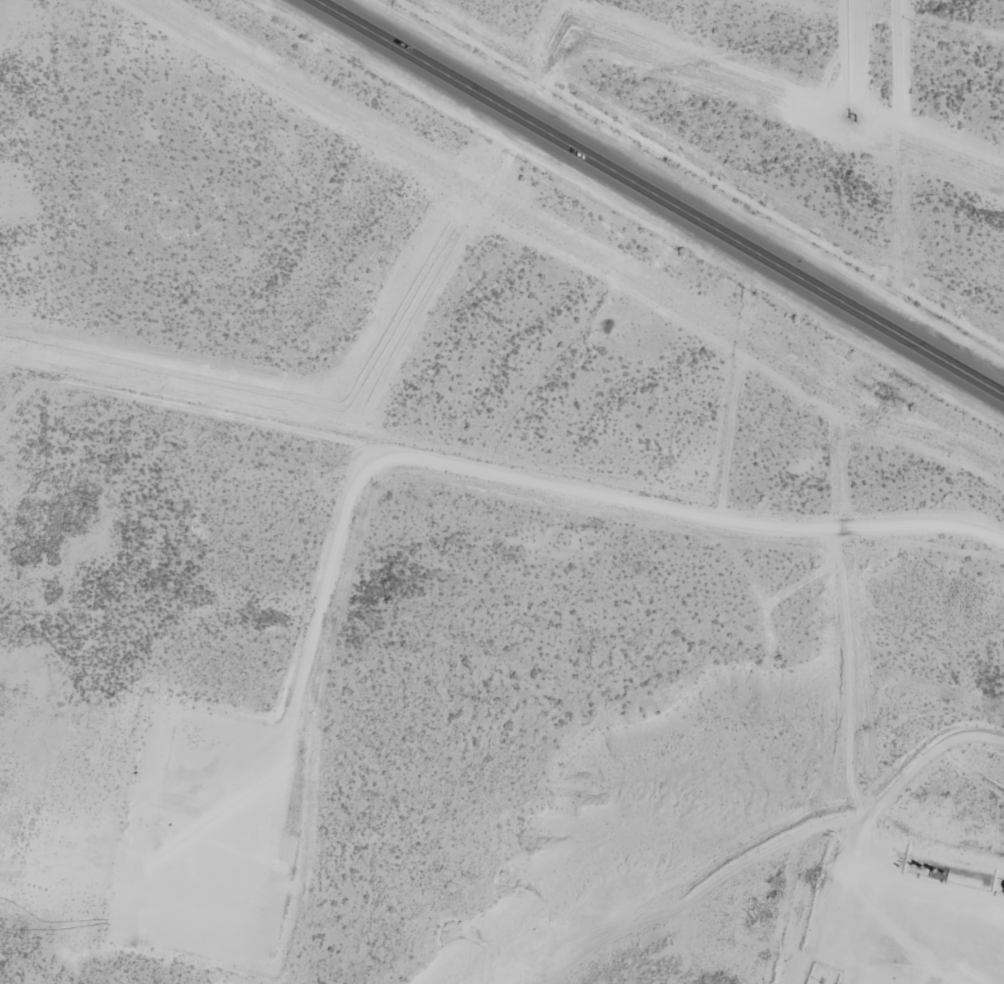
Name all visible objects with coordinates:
road: (660, 197)

